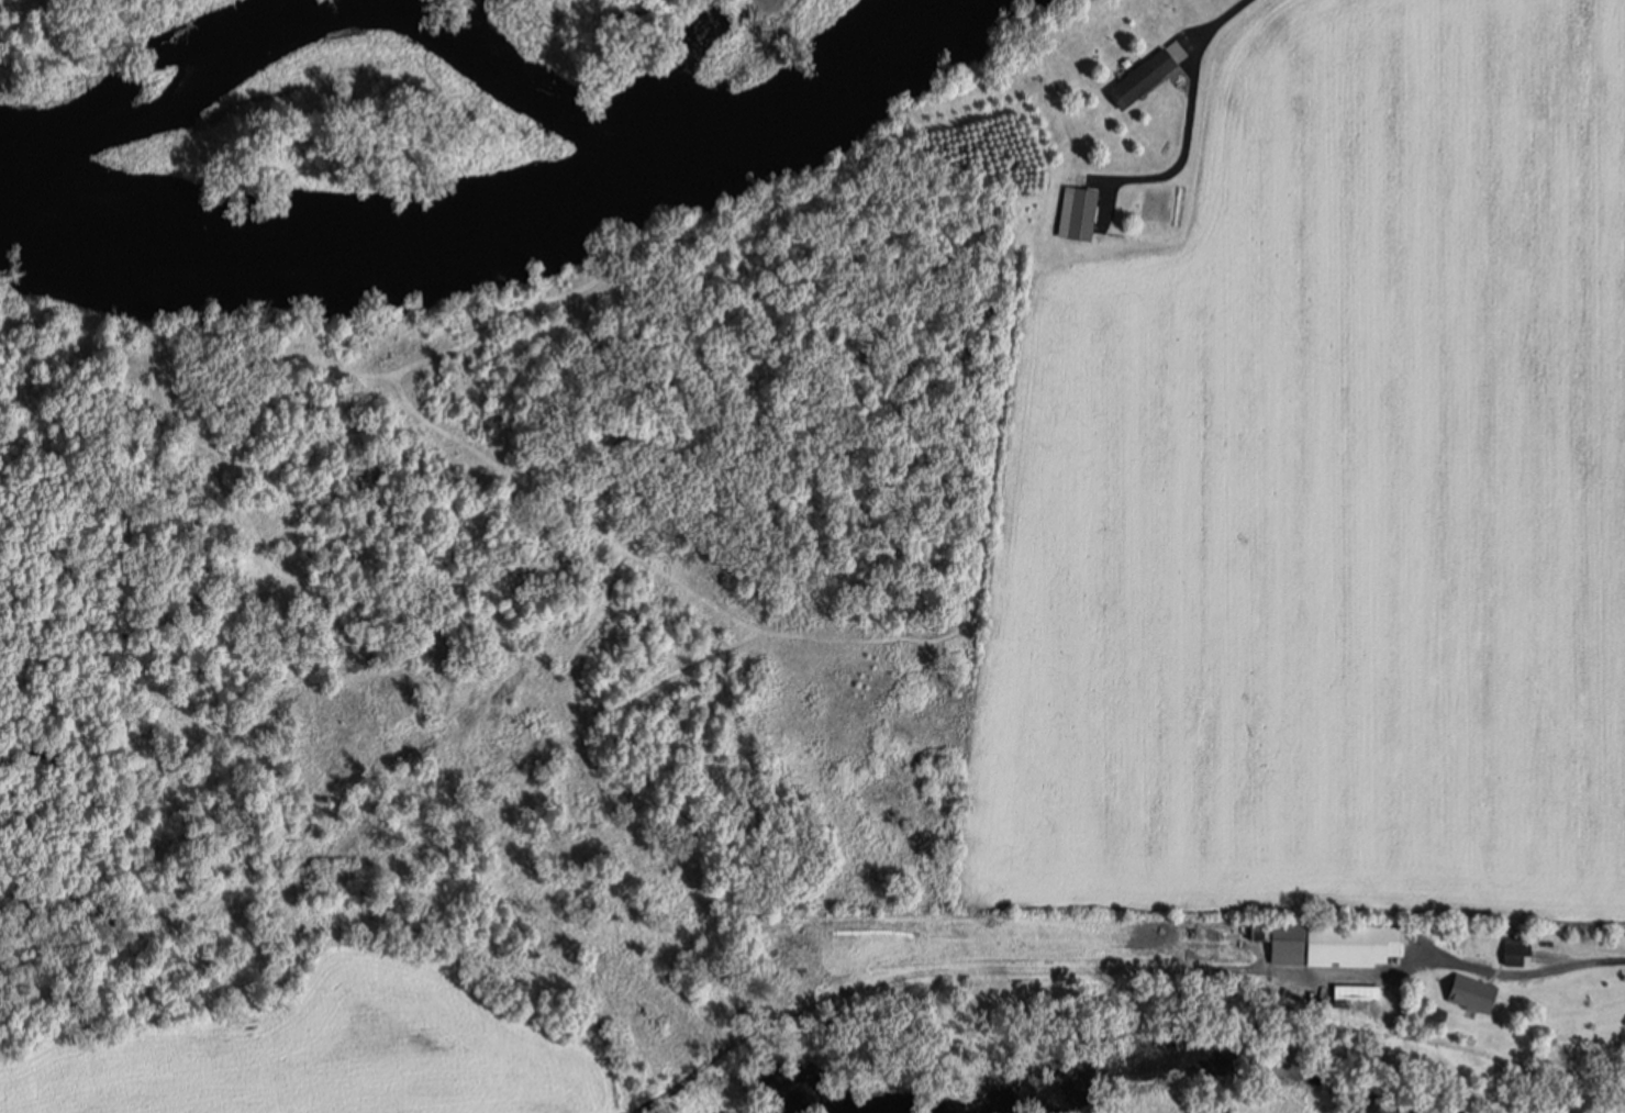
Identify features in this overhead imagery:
building: (1146, 79)
road: (1186, 105)
building: (1087, 213)
river: (500, 226)
crop: (1329, 491)
building: (1291, 936)
building: (1522, 950)
crop: (324, 1053)

